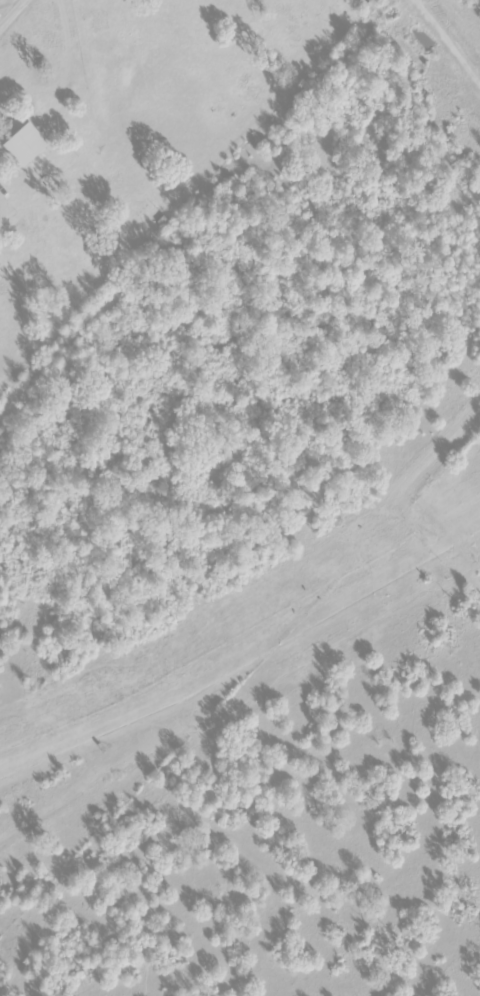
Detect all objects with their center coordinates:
building: (19, 142)

